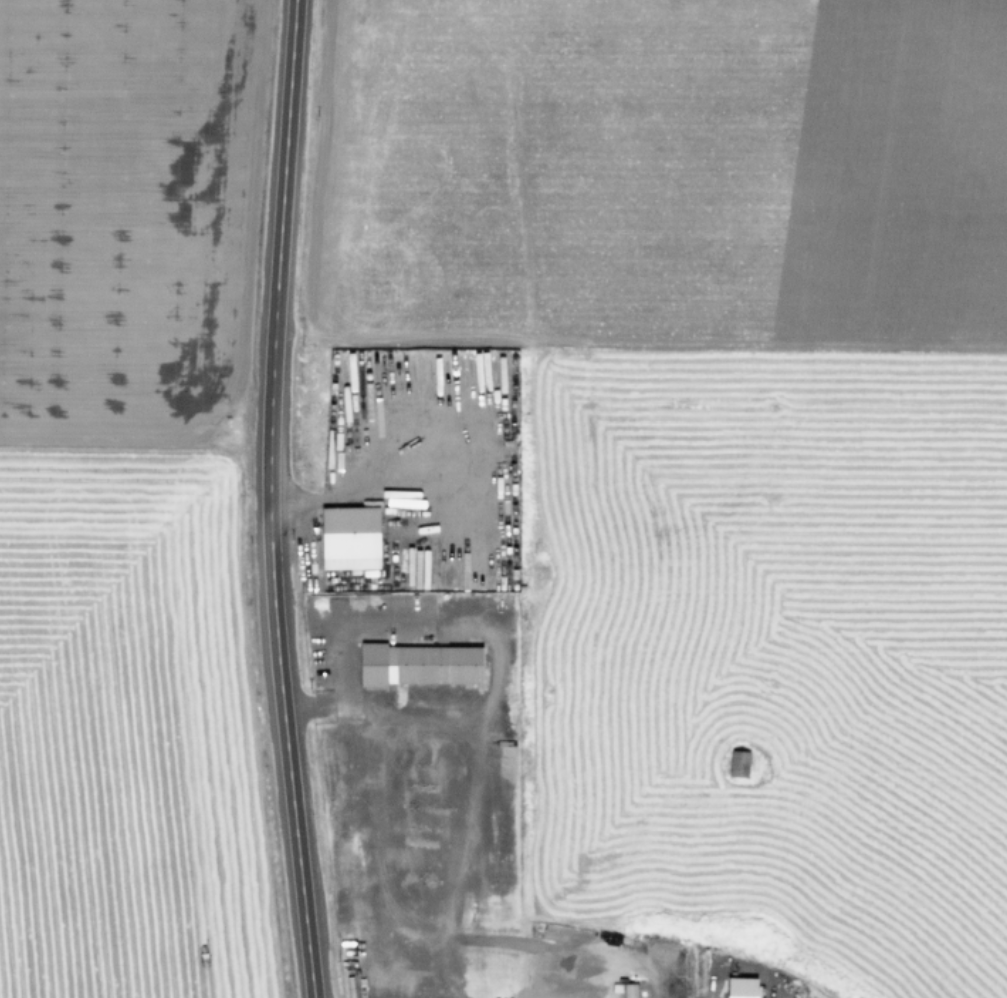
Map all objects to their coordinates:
crop: (740, 451)
road: (268, 499)
crop: (103, 510)
building: (349, 537)
building: (419, 663)
building: (501, 745)
building: (738, 762)
building: (629, 990)

